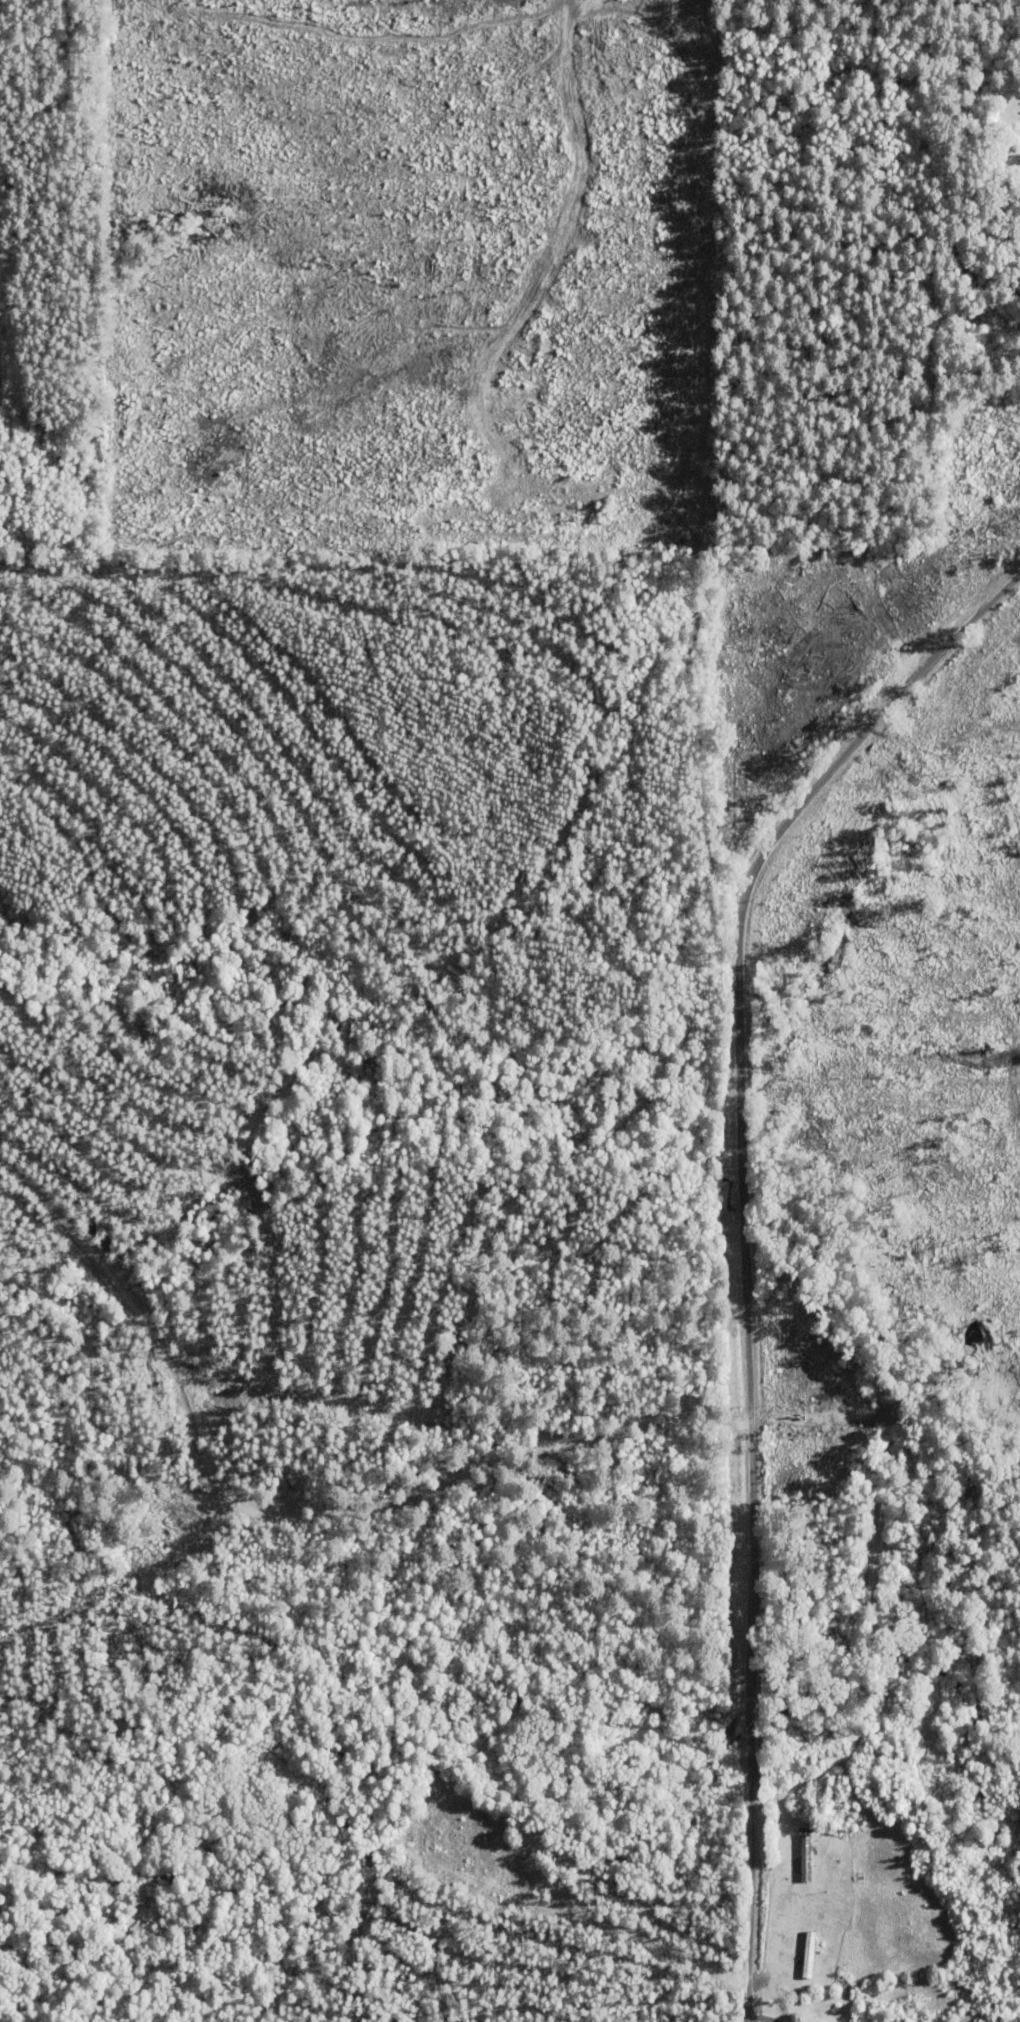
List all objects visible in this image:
road: (749, 1254)
building: (794, 2021)

